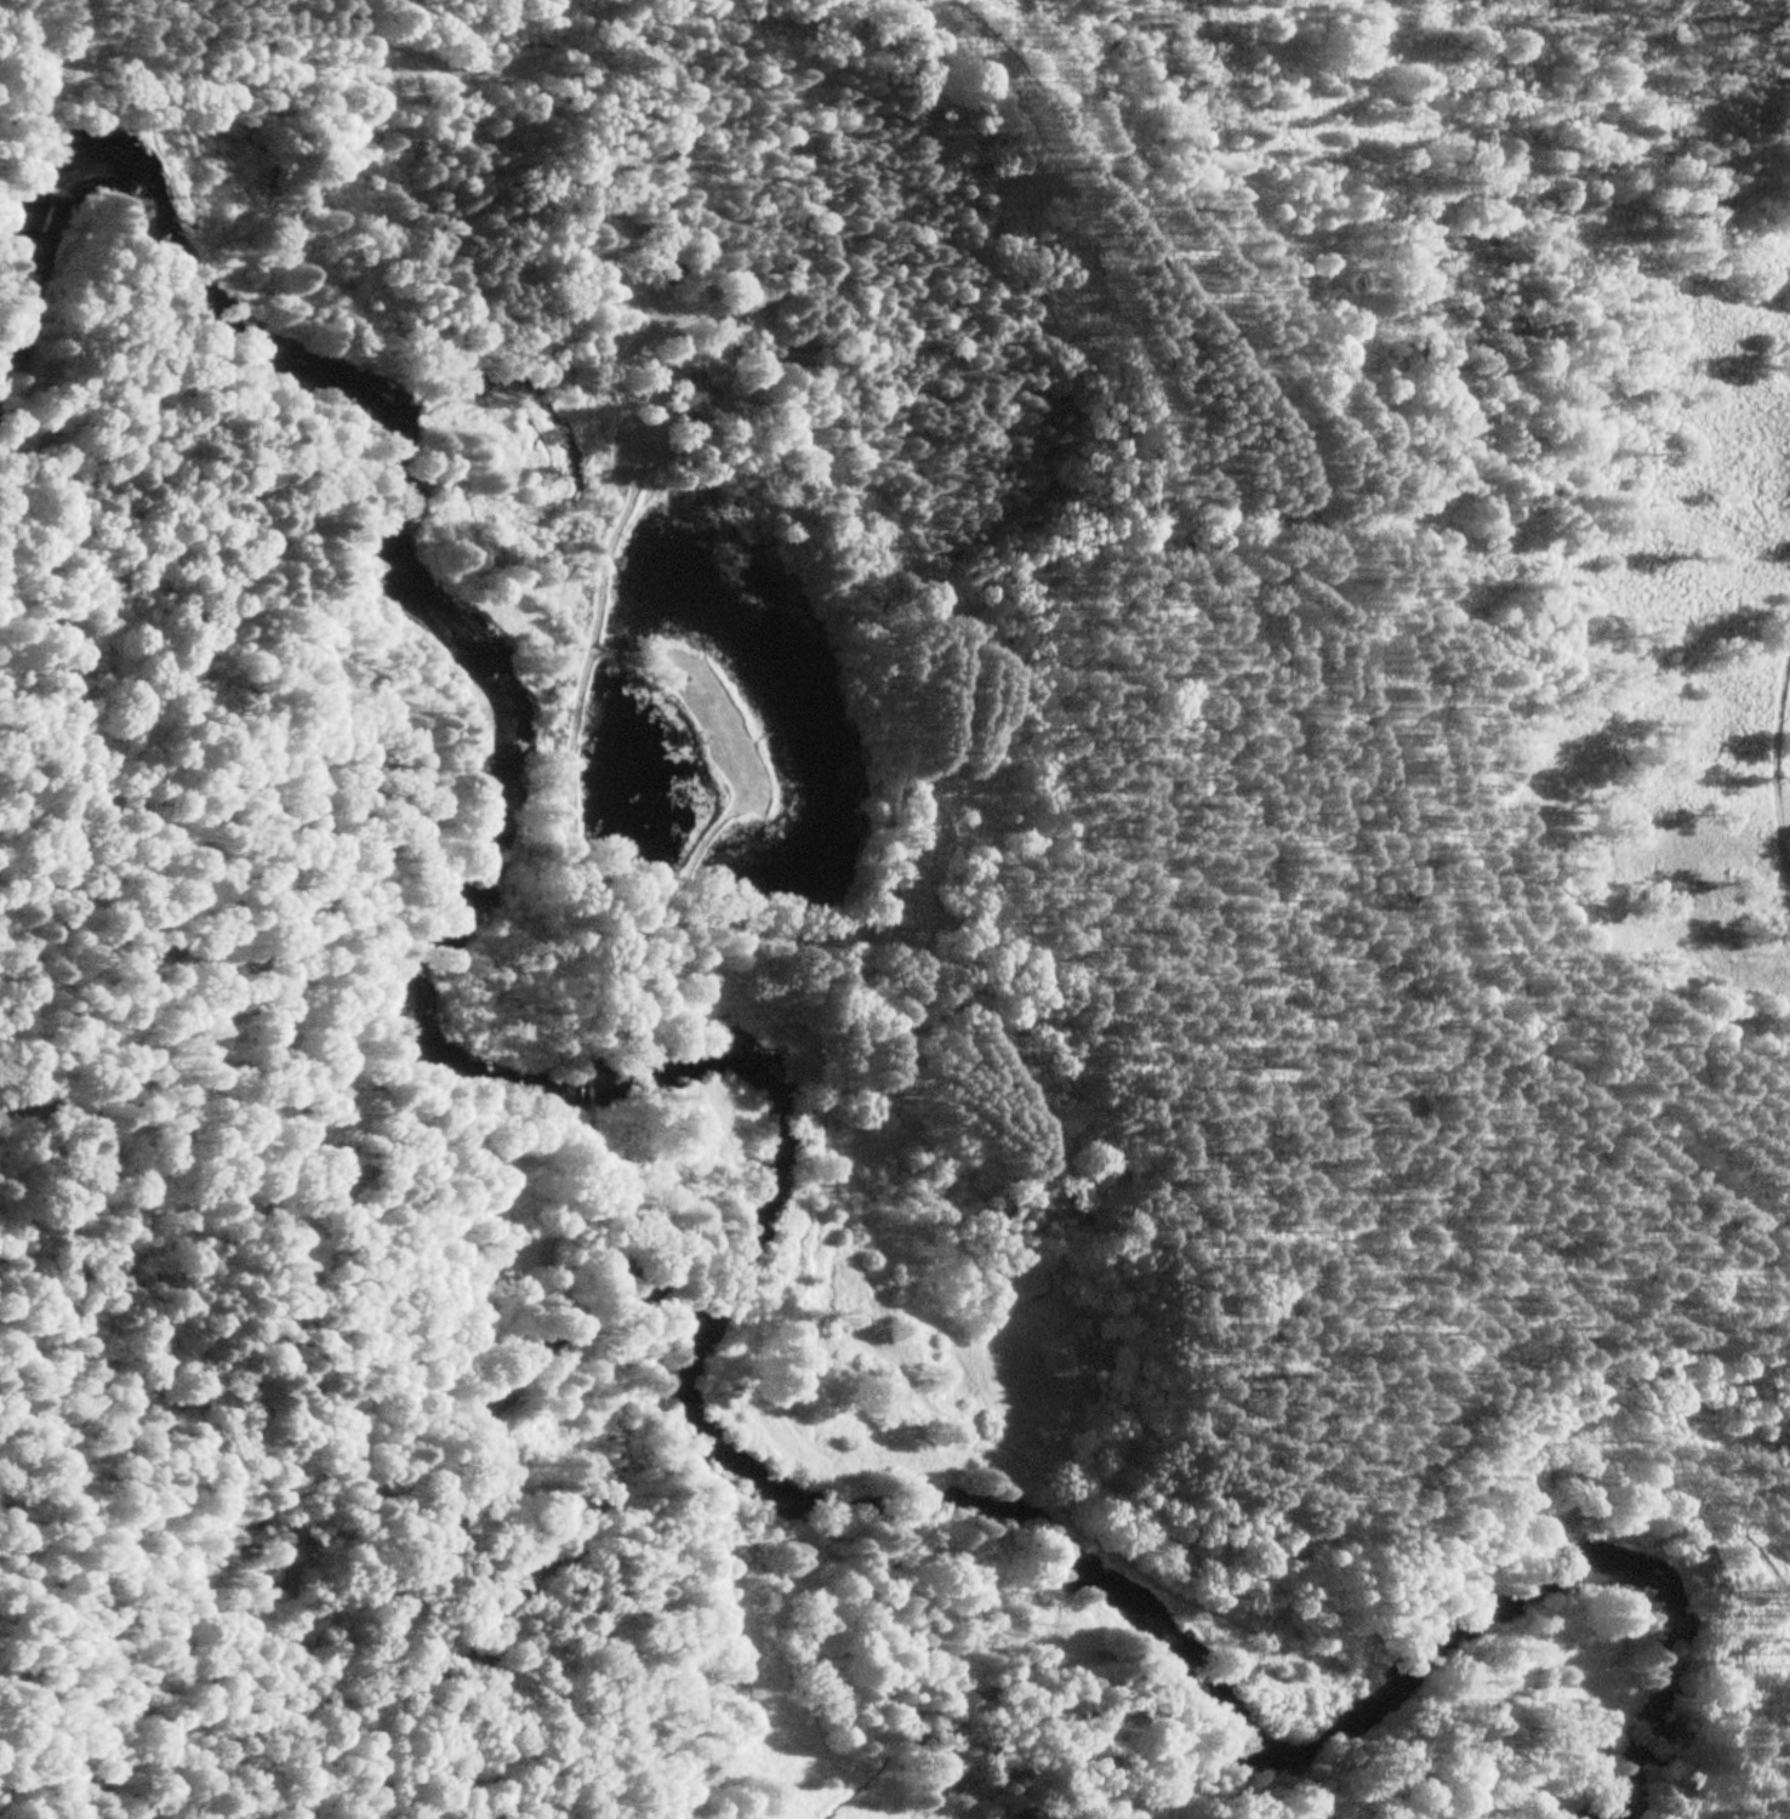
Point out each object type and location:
building: (690, 394)
road: (1350, 644)
road: (1769, 770)
river: (771, 1089)
building: (488, 1399)
road: (722, 1561)

